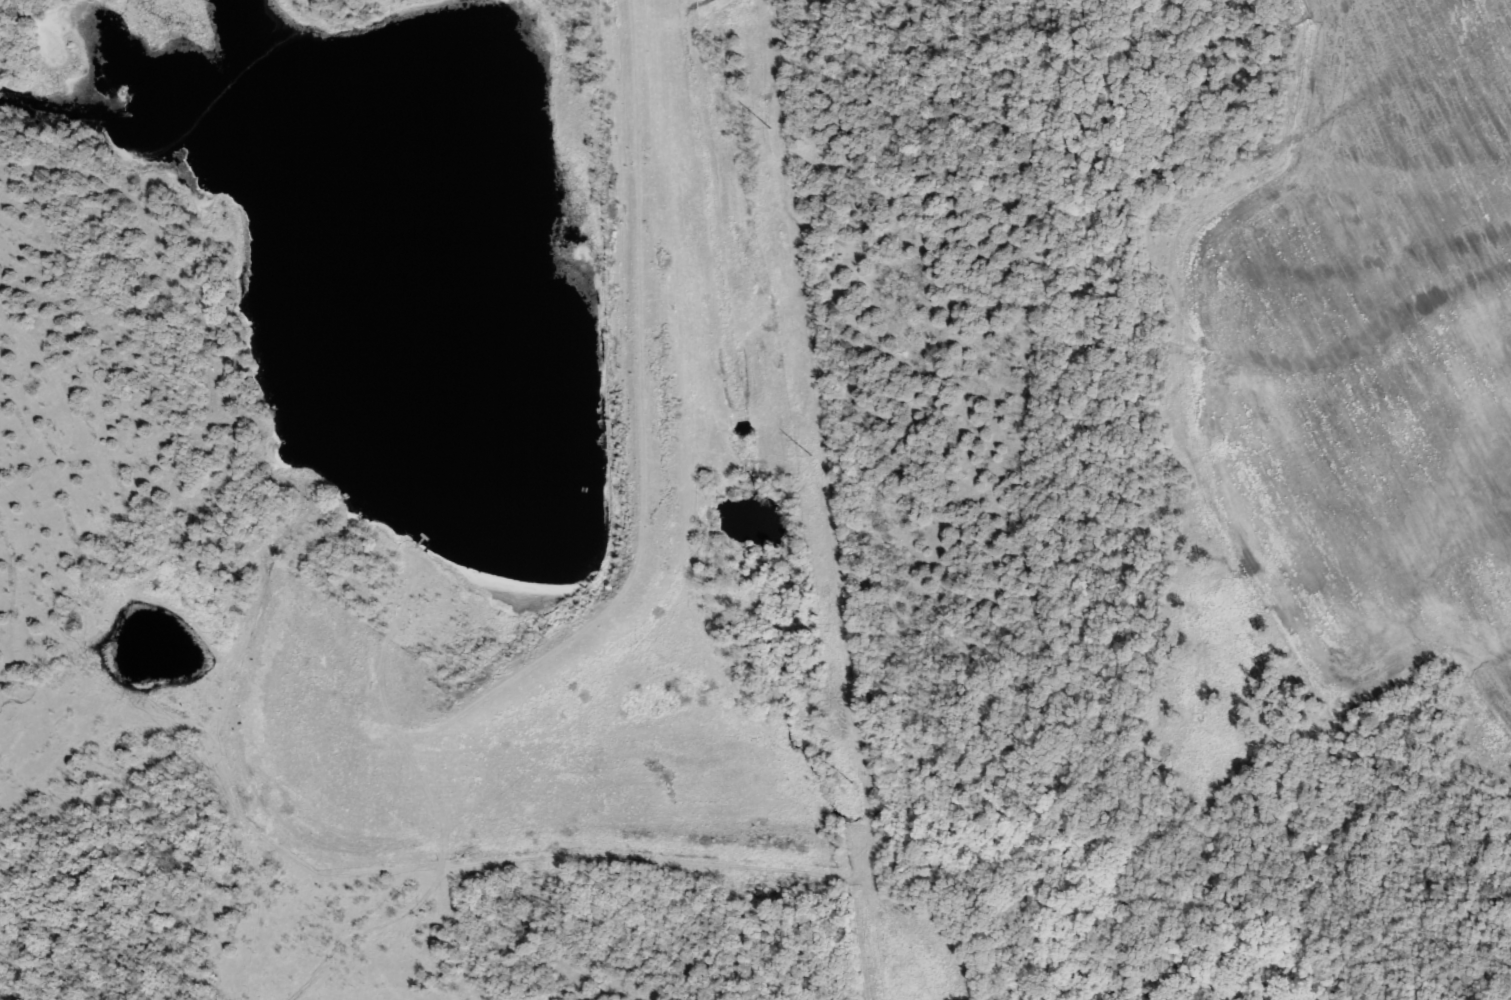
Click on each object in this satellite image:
power tower: (769, 128)
power tower: (810, 453)
power tower: (851, 781)

